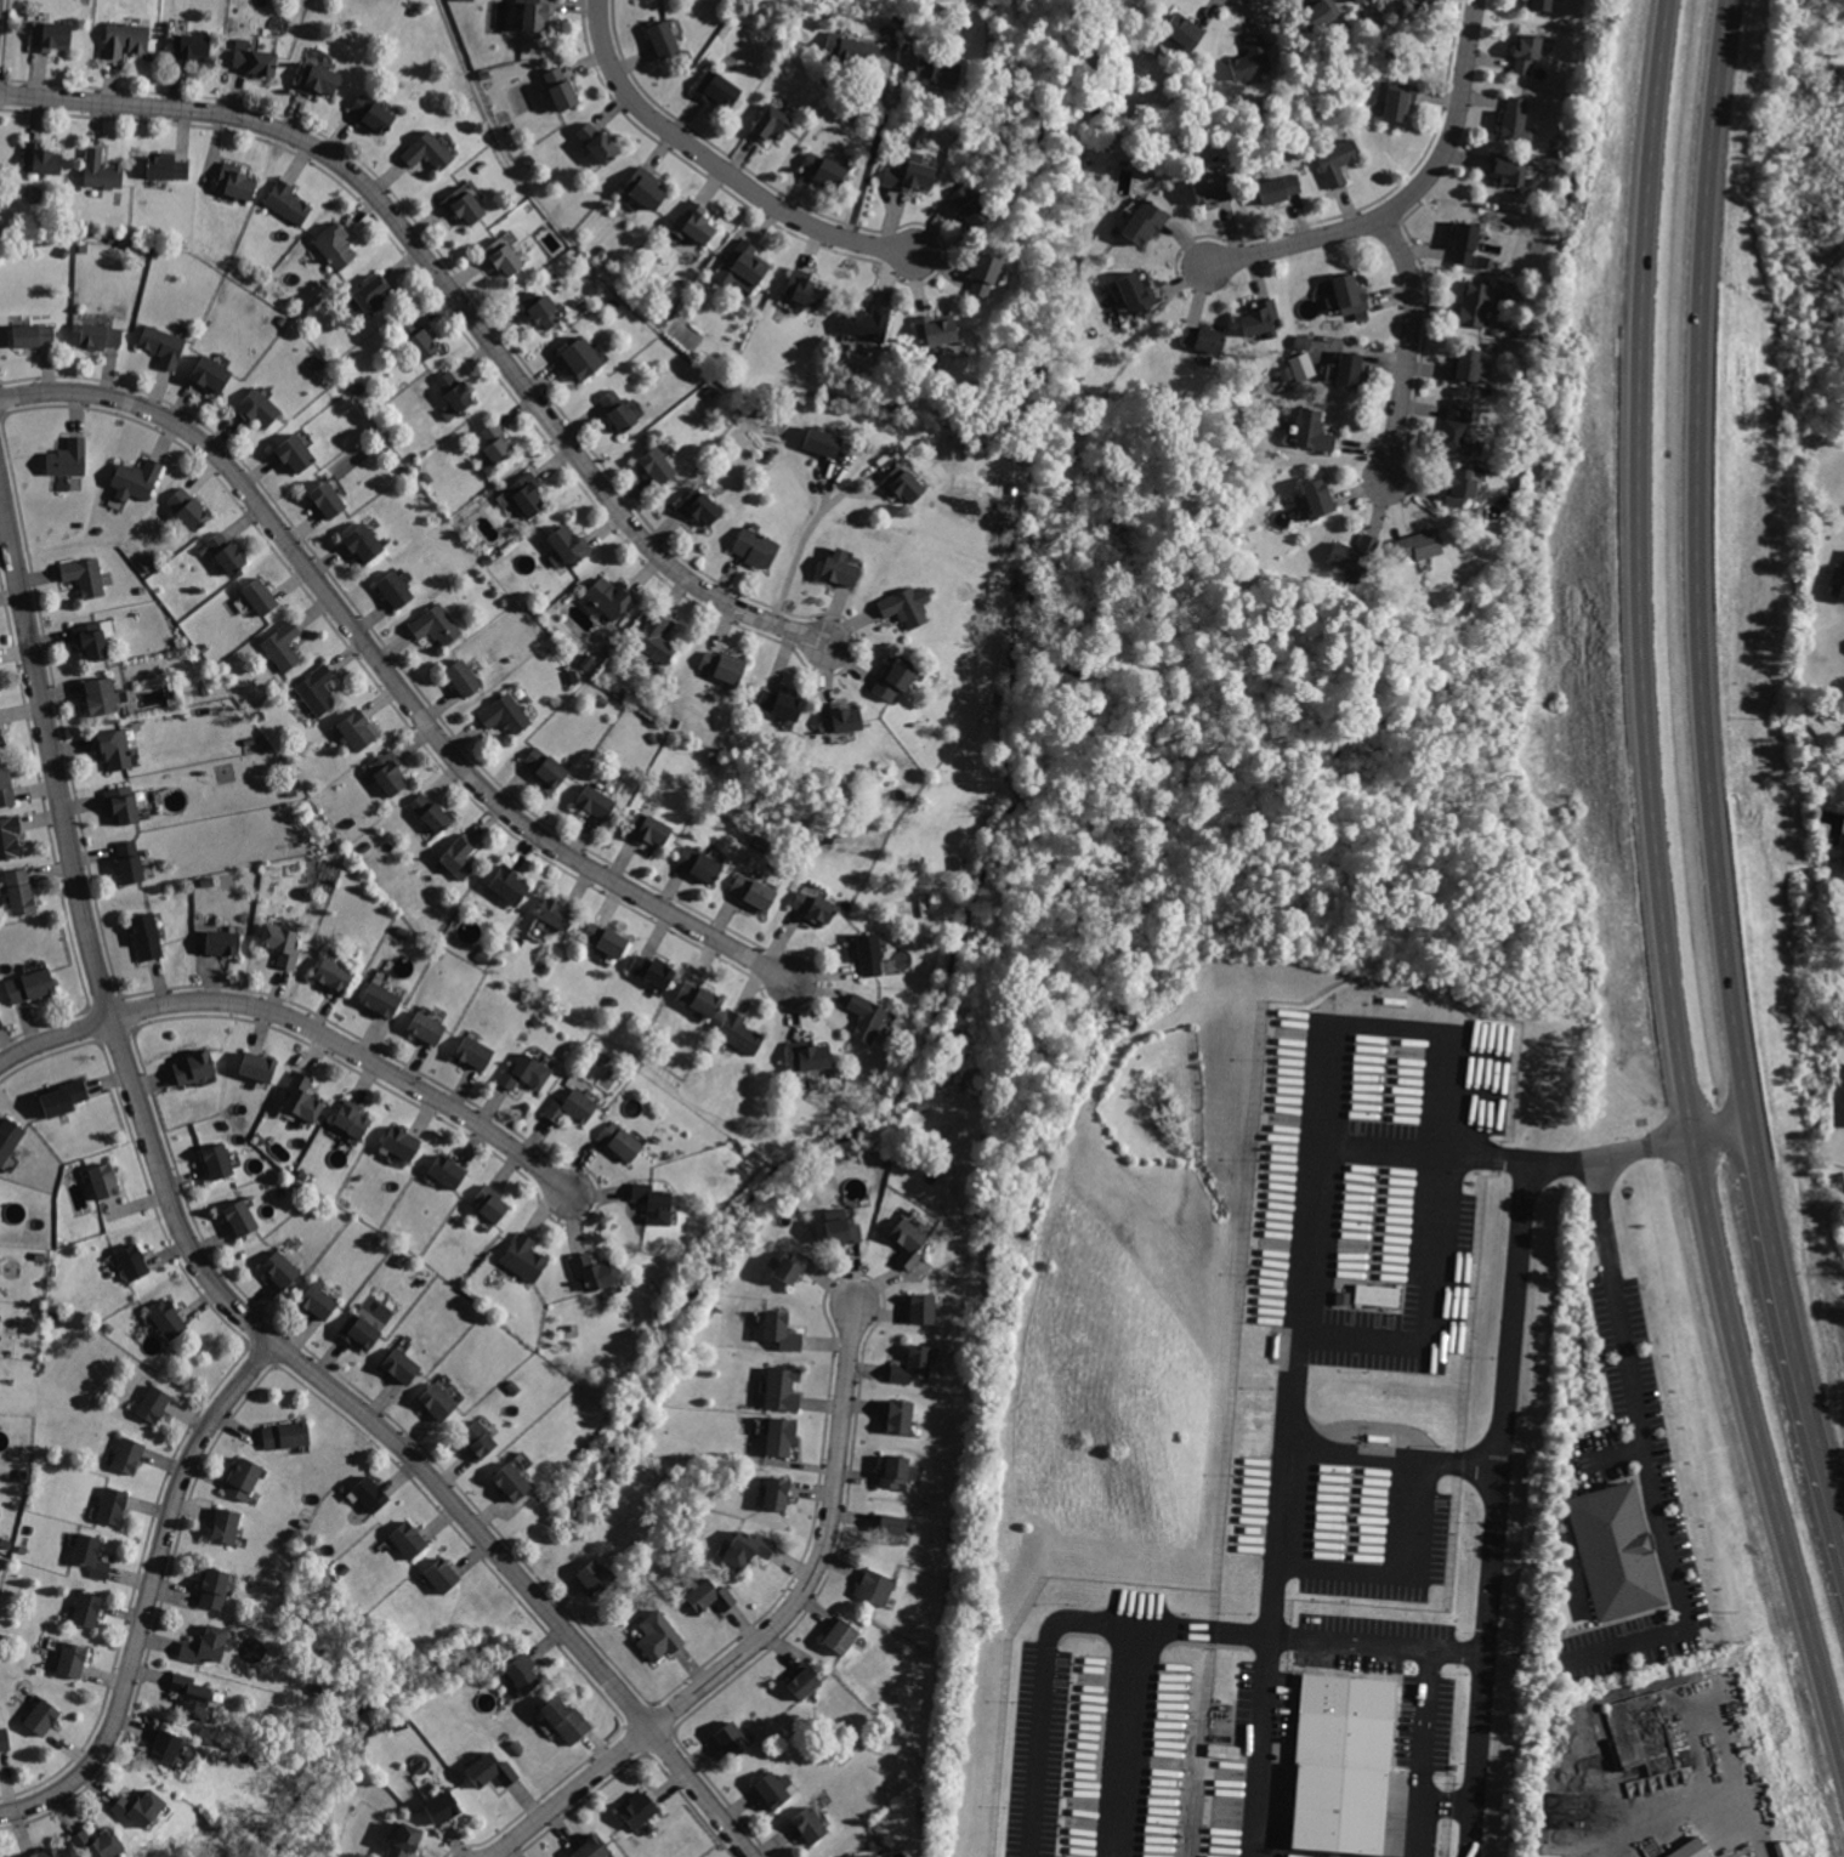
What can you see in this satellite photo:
building: (1358, 0)
building: (1541, 5)
building: (537, 13)
building: (1320, 13)
building: (1181, 32)
building: (49, 36)
building: (663, 38)
building: (126, 39)
building: (852, 46)
building: (188, 47)
building: (1526, 55)
building: (1254, 58)
building: (255, 61)
building: (936, 69)
building: (316, 79)
building: (560, 87)
building: (717, 90)
building: (1398, 100)
building: (373, 112)
building: (1515, 119)
building: (770, 124)
road: (878, 140)
building: (597, 143)
building: (429, 152)
building: (41, 161)
building: (1337, 163)
road: (720, 165)
building: (166, 169)
building: (824, 169)
building: (1510, 170)
building: (103, 171)
building: (908, 176)
building: (237, 184)
building: (1277, 186)
building: (1212, 189)
building: (645, 194)
road: (1411, 195)
building: (288, 204)
building: (461, 206)
building: (970, 206)
building: (1144, 221)
building: (692, 225)
building: (335, 244)
building: (1466, 244)
building: (500, 257)
building: (1481, 260)
building: (741, 268)
building: (983, 278)
building: (804, 290)
building: (1136, 293)
building: (371, 295)
road: (454, 295)
building: (1352, 296)
building: (1475, 306)
building: (538, 309)
building: (1263, 317)
building: (866, 326)
building: (935, 331)
building: (36, 335)
building: (101, 335)
building: (418, 339)
building: (1203, 339)
building: (1303, 341)
road: (1409, 343)
building: (165, 346)
building: (584, 359)
building: (1304, 365)
building: (1470, 365)
building: (1349, 369)
building: (211, 375)
building: (455, 388)
building: (259, 408)
building: (618, 410)
building: (1454, 426)
building: (1312, 428)
building: (823, 443)
building: (495, 445)
building: (294, 452)
building: (68, 458)
building: (660, 466)
building: (137, 478)
building: (902, 483)
building: (1462, 487)
building: (528, 494)
building: (1317, 496)
building: (328, 500)
building: (700, 506)
building: (191, 509)
building: (363, 543)
building: (1420, 544)
building: (572, 547)
building: (758, 549)
building: (225, 552)
building: (1354, 553)
road: (800, 560)
road: (1697, 564)
building: (839, 568)
building: (85, 575)
building: (396, 591)
building: (1843, 592)
building: (612, 596)
building: (262, 597)
building: (903, 608)
building: (436, 625)
building: (92, 640)
building: (658, 641)
building: (284, 646)
building: (722, 668)
road: (391, 672)
building: (464, 680)
building: (891, 680)
building: (317, 689)
building: (101, 694)
building: (778, 703)
building: (507, 714)
building: (840, 720)
building: (357, 728)
building: (1, 736)
building: (115, 746)
building: (549, 768)
building: (390, 772)
building: (7, 783)
building: (121, 801)
building: (597, 801)
building: (431, 812)
building: (649, 829)
building: (10, 836)
building: (459, 858)
building: (131, 861)
building: (699, 864)
building: (1843, 870)
road: (1659, 882)
building: (509, 885)
building: (21, 890)
building: (754, 892)
building: (812, 909)
building: (557, 914)
building: (148, 937)
building: (605, 941)
building: (222, 943)
building: (282, 944)
building: (869, 954)
building: (651, 971)
building: (335, 976)
building: (32, 984)
building: (698, 999)
building: (381, 1001)
building: (867, 1018)
building: (429, 1029)
building: (741, 1034)
road: (56, 1039)
road: (1447, 1043)
road: (358, 1055)
building: (475, 1055)
building: (808, 1057)
building: (259, 1067)
building: (195, 1068)
building: (524, 1074)
building: (301, 1096)
building: (63, 1100)
building: (566, 1109)
building: (352, 1121)
road: (1724, 1134)
building: (10, 1137)
building: (620, 1143)
building: (403, 1145)
road: (1408, 1147)
road: (1599, 1158)
building: (217, 1162)
building: (447, 1174)
building: (103, 1180)
building: (651, 1204)
building: (487, 1206)
building: (242, 1219)
building: (841, 1230)
building: (908, 1242)
road: (197, 1257)
building: (524, 1260)
building: (134, 1263)
building: (793, 1268)
building: (283, 1270)
building: (595, 1272)
building: (318, 1300)
building: (923, 1310)
building: (170, 1321)
road: (1792, 1325)
building: (779, 1331)
building: (362, 1334)
building: (913, 1365)
building: (403, 1367)
building: (1255, 1379)
building: (783, 1390)
building: (441, 1401)
building: (154, 1403)
building: (900, 1416)
road: (1379, 1422)
building: (288, 1433)
building: (781, 1435)
building: (481, 1442)
building: (129, 1452)
road: (1374, 1452)
road: (1646, 1452)
road: (1482, 1461)
building: (893, 1471)
building: (244, 1478)
building: (511, 1481)
building: (778, 1492)
building: (370, 1494)
building: (113, 1505)
road: (1498, 1509)
building: (225, 1524)
building: (893, 1526)
building: (409, 1539)
building: (750, 1546)
building: (1617, 1547)
building: (92, 1556)
road: (1403, 1572)
building: (443, 1574)
building: (596, 1577)
building: (876, 1586)
building: (215, 1588)
road: (1273, 1592)
road: (149, 1595)
building: (709, 1595)
building: (87, 1609)
road: (1057, 1626)
building: (658, 1634)
road: (771, 1635)
building: (844, 1636)
road: (1388, 1642)
building: (204, 1647)
building: (72, 1659)
building: (524, 1673)
building: (807, 1681)
building: (192, 1693)
road: (1428, 1708)
building: (41, 1716)
building: (567, 1720)
building: (5, 1736)
building: (733, 1738)
road: (1127, 1740)
building: (164, 1744)
building: (490, 1770)
building: (775, 1789)
road: (1449, 1801)
building: (138, 1807)
building: (442, 1807)
building: (640, 1808)
road: (1418, 1813)
building: (810, 1825)
road: (1768, 1836)
building: (404, 1839)
building: (95, 1842)
building: (591, 1847)
building: (1689, 1850)
building: (45, 1852)
building: (868, 1855)
building: (2, 1856)

